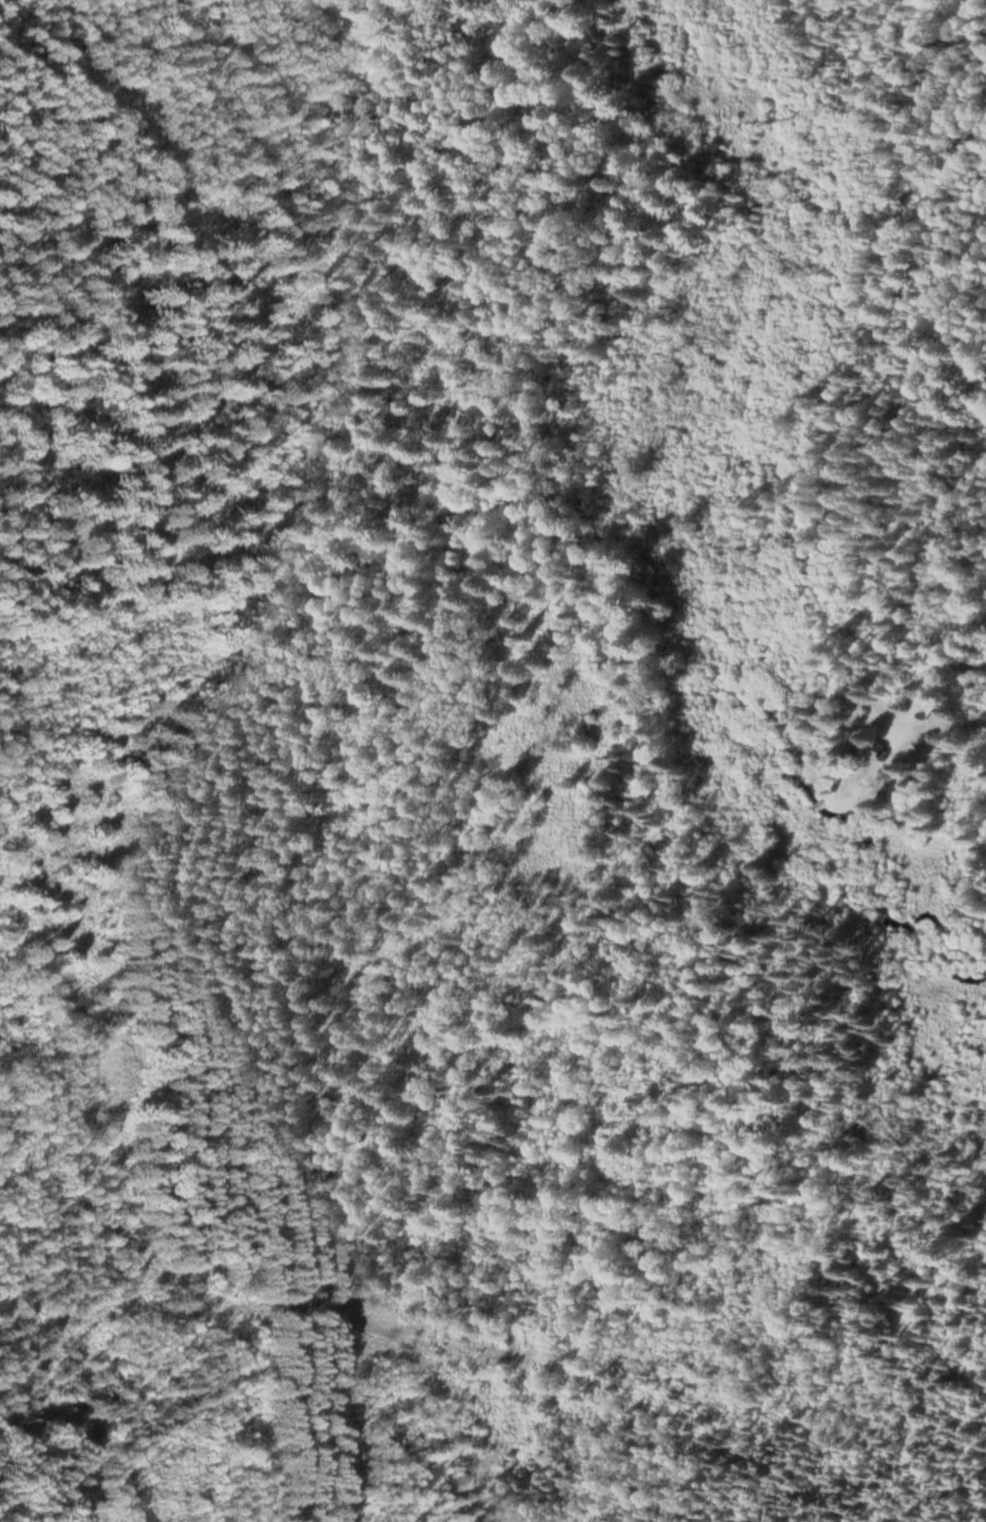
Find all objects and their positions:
building: (876, 750)

